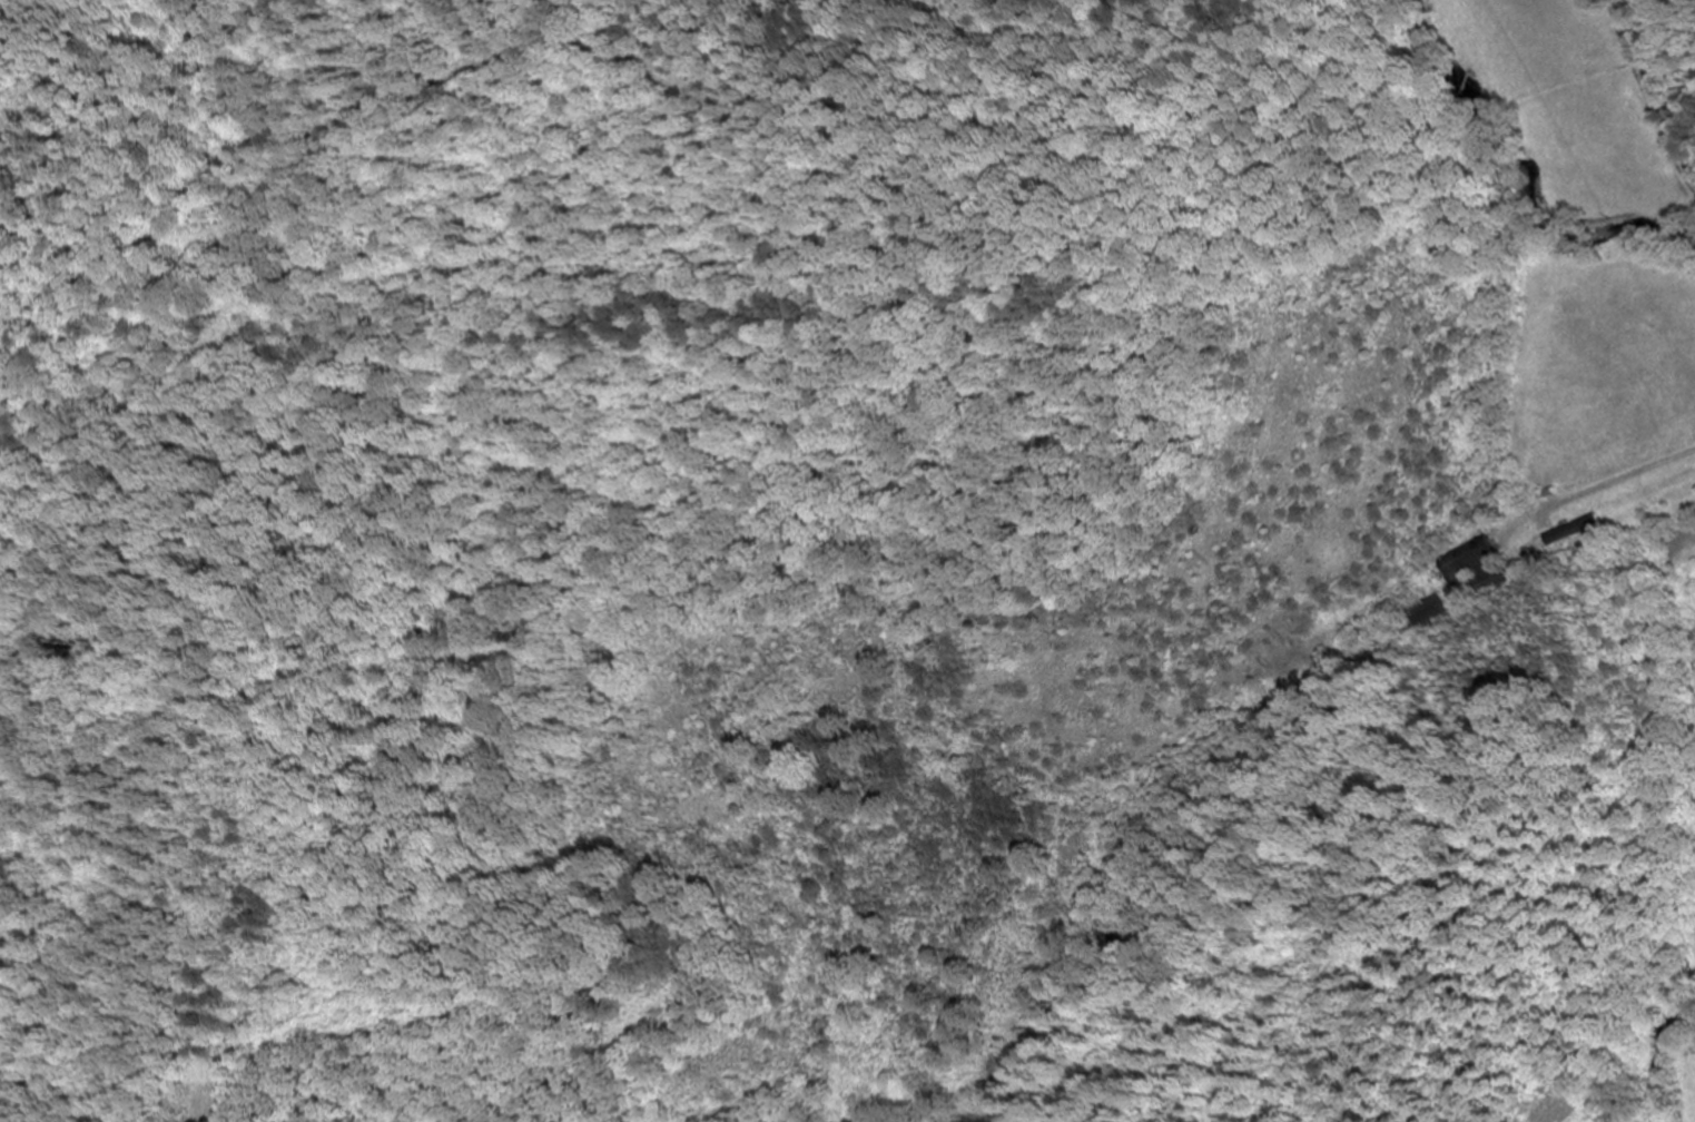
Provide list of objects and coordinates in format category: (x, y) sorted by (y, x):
road: (1648, 93)
building: (1571, 532)
building: (1476, 569)
building: (1429, 611)
road: (269, 683)
road: (169, 837)

